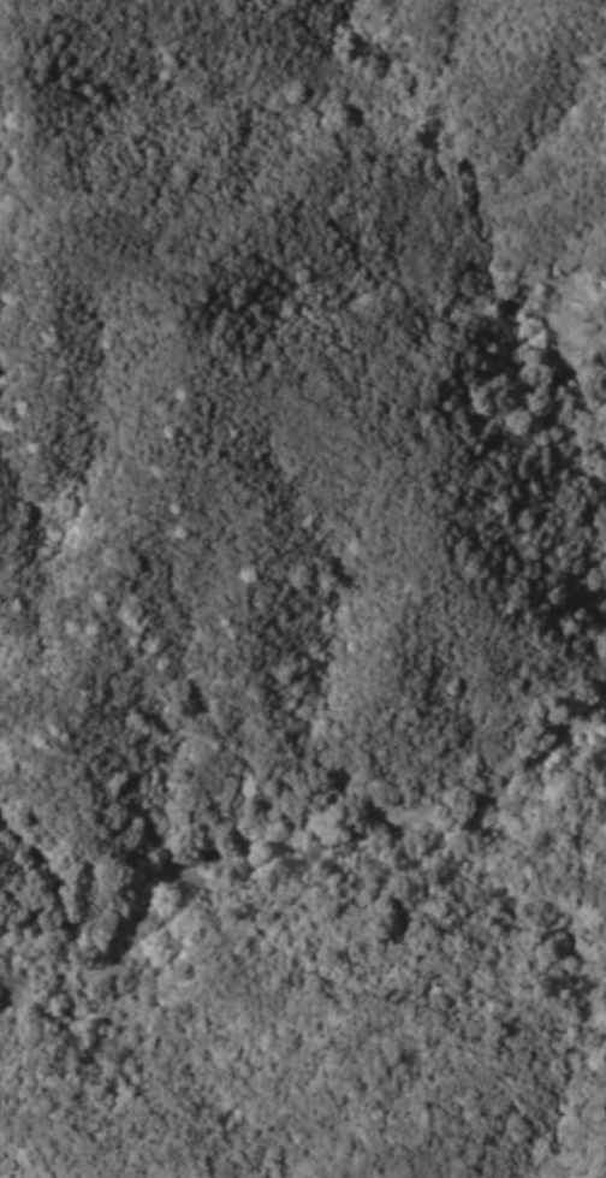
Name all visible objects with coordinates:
road: (255, 871)

